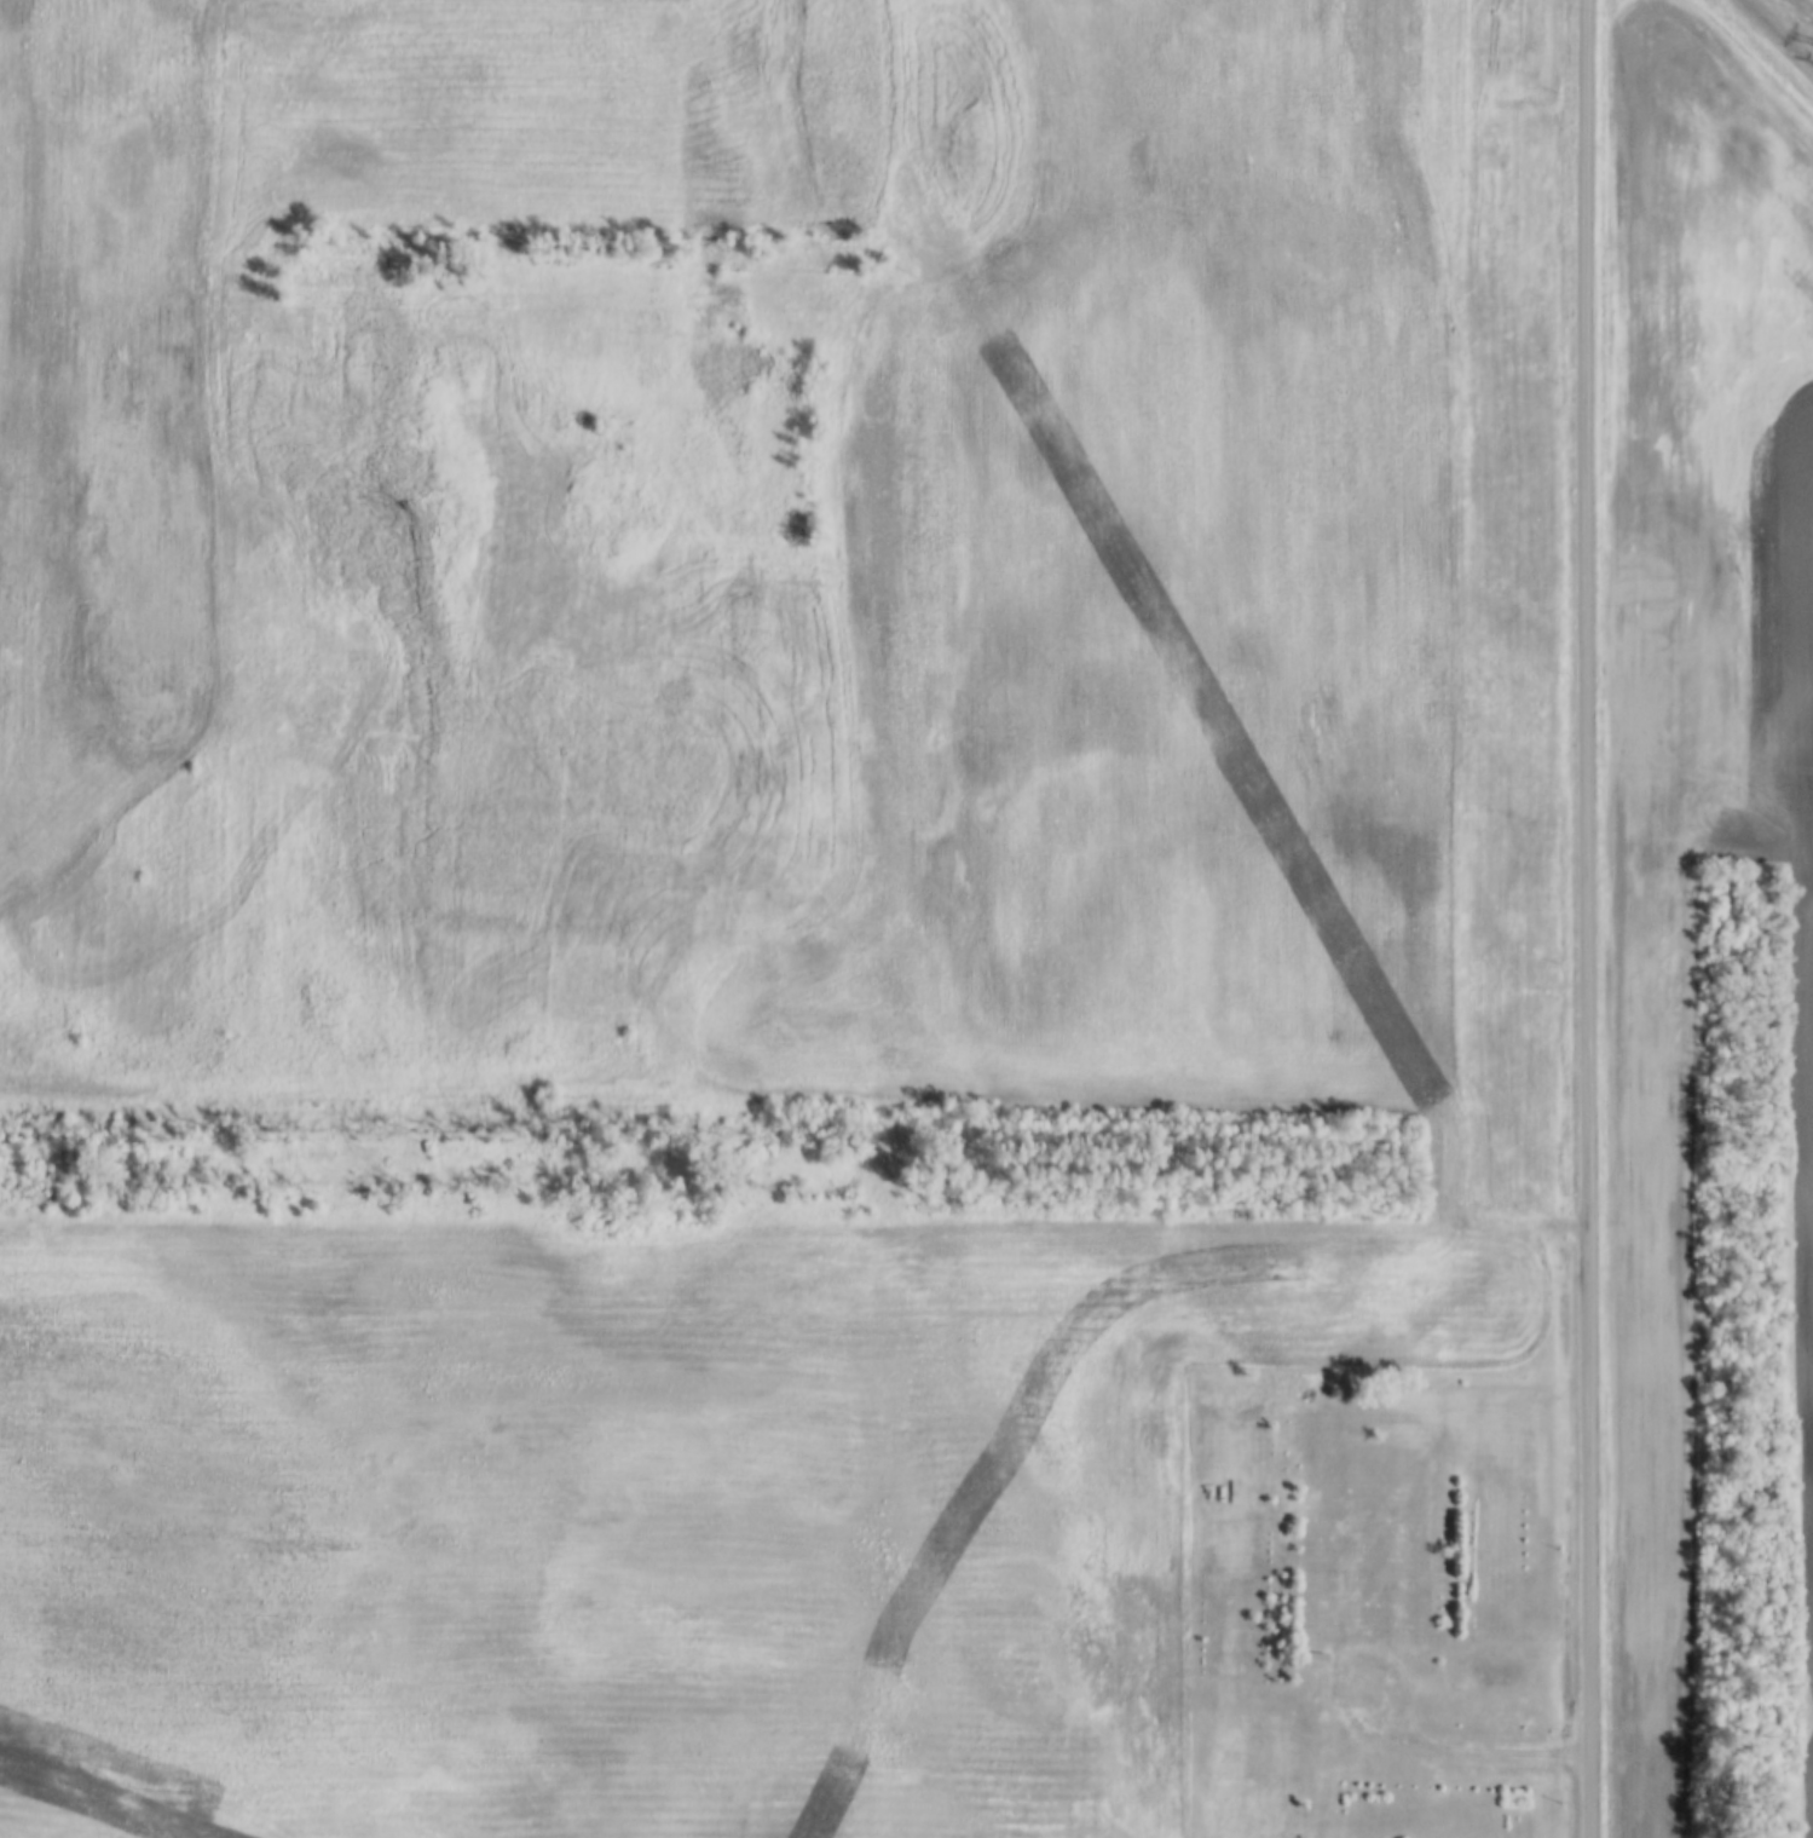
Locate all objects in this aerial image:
road: (1593, 918)
building: (1349, 1595)
building: (1310, 1661)
road: (1375, 1736)

